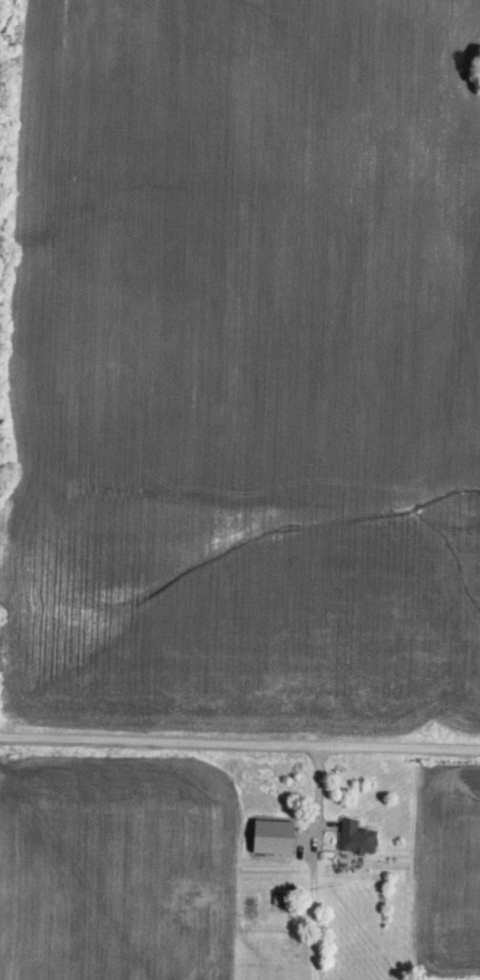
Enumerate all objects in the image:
road: (240, 749)
building: (268, 836)
building: (353, 837)

